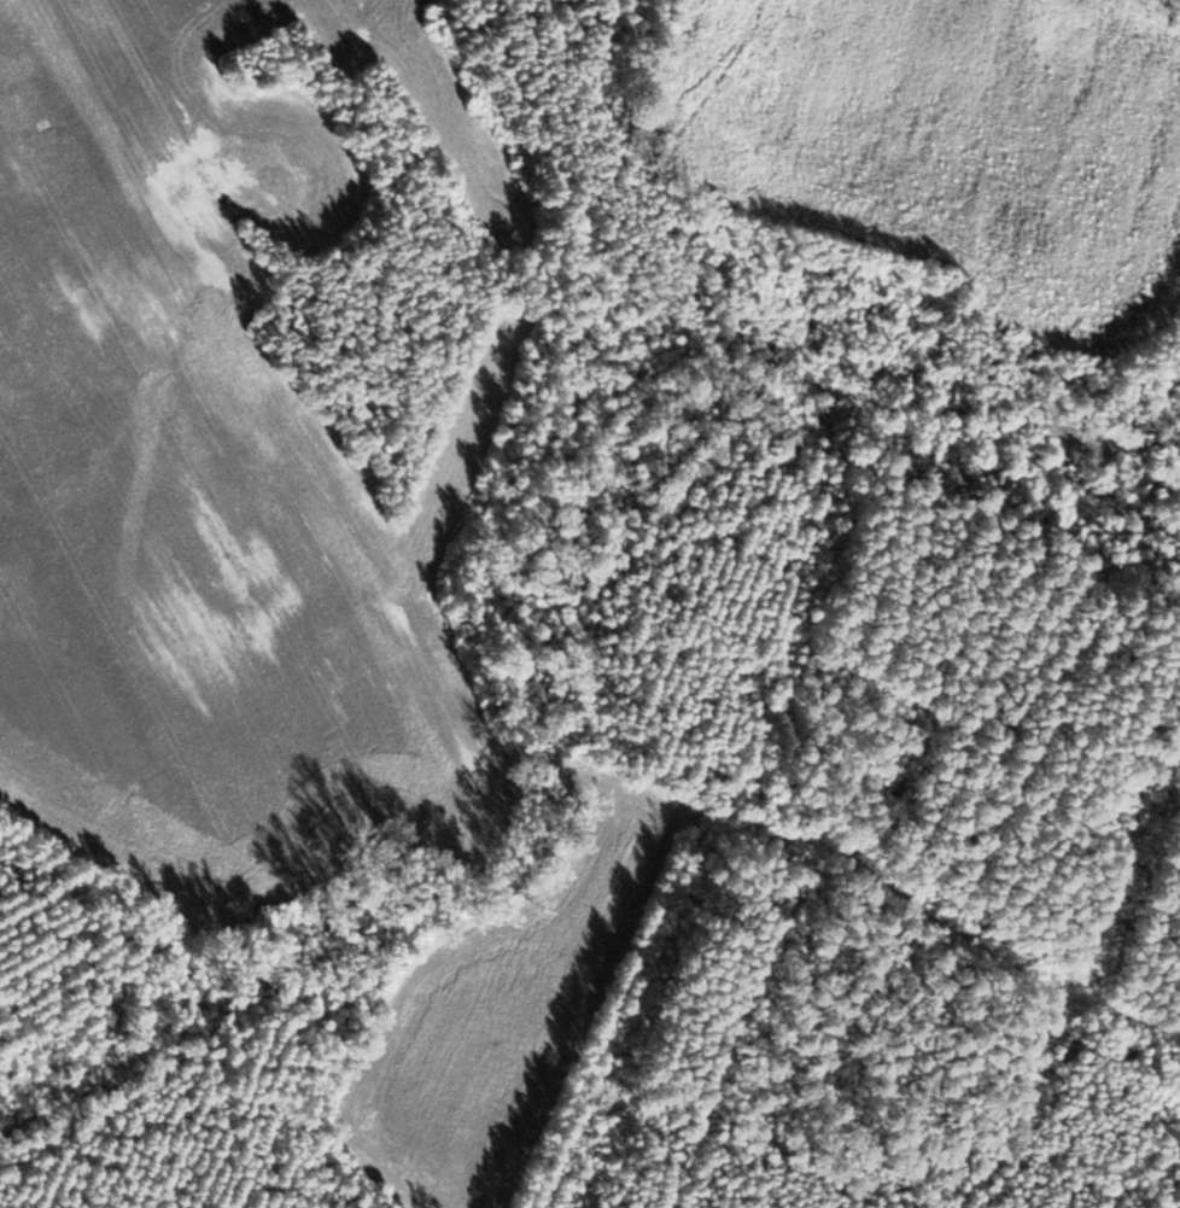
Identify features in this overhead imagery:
building: (1118, 1055)

